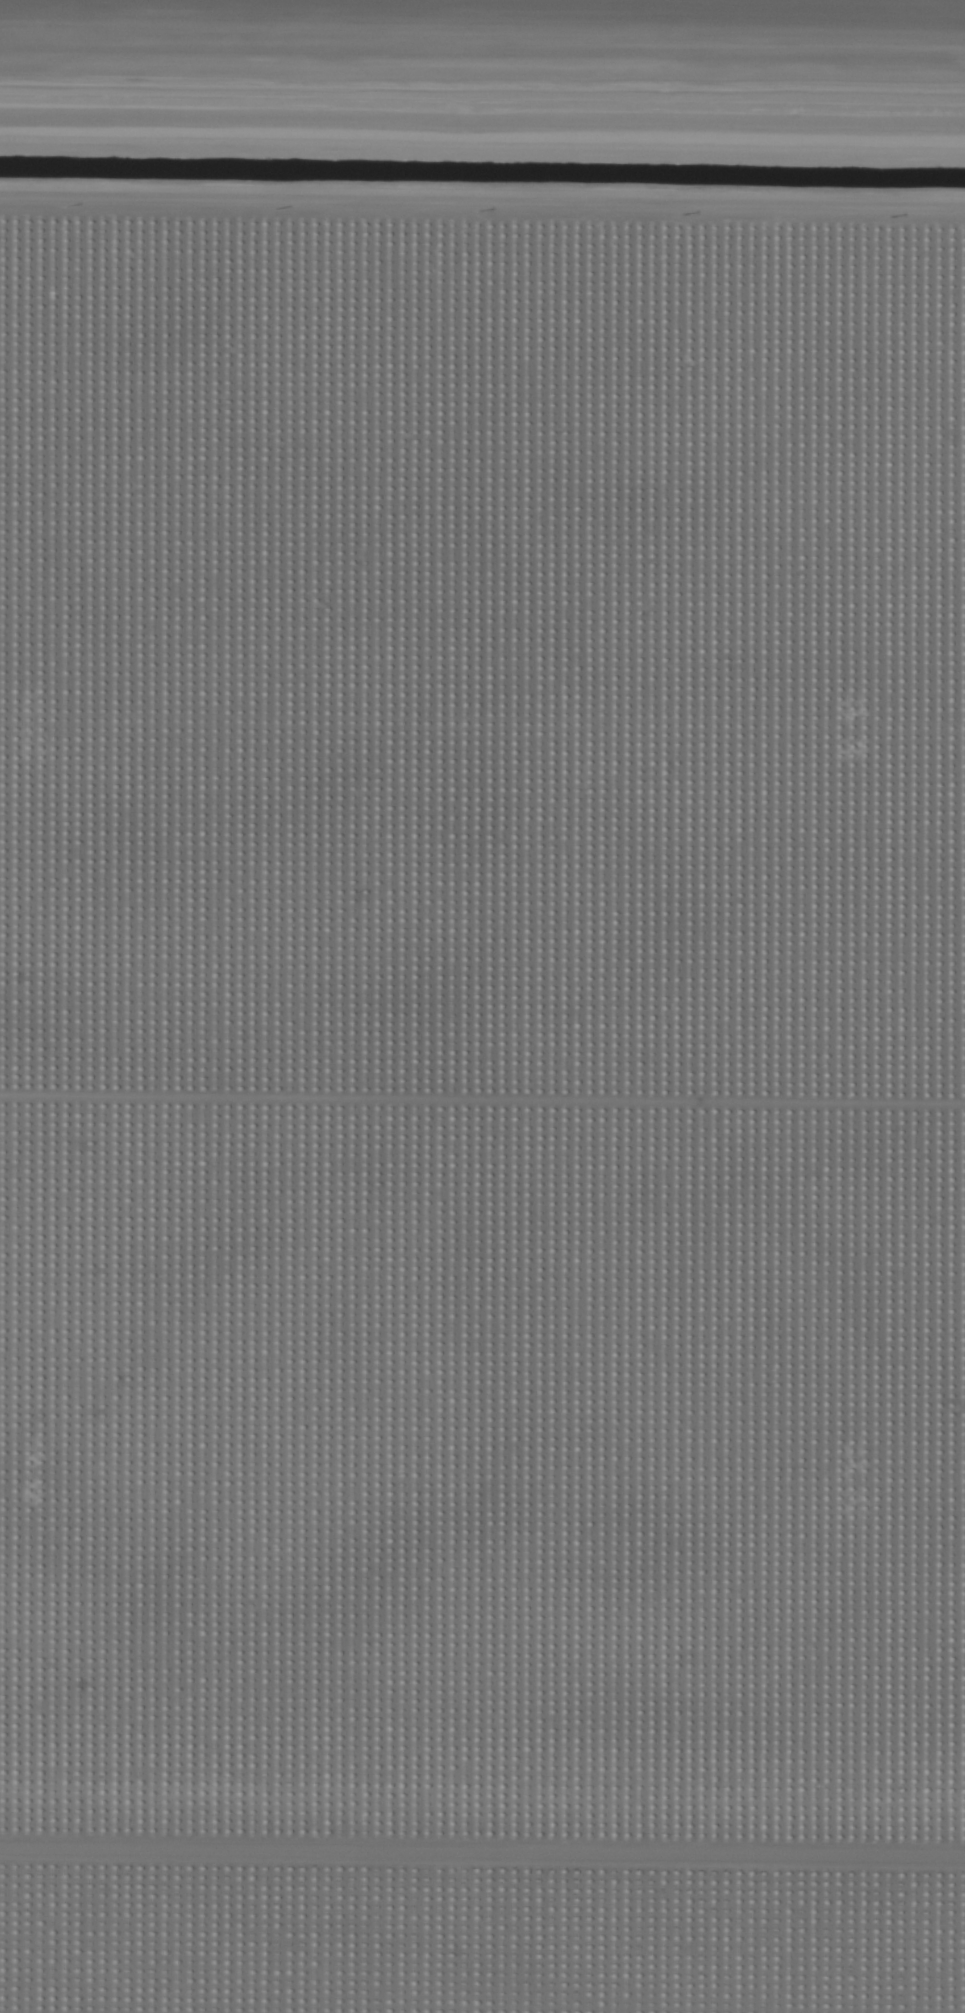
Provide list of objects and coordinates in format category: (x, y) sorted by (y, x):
road: (482, 84)
road: (482, 217)
crop: (482, 1006)

